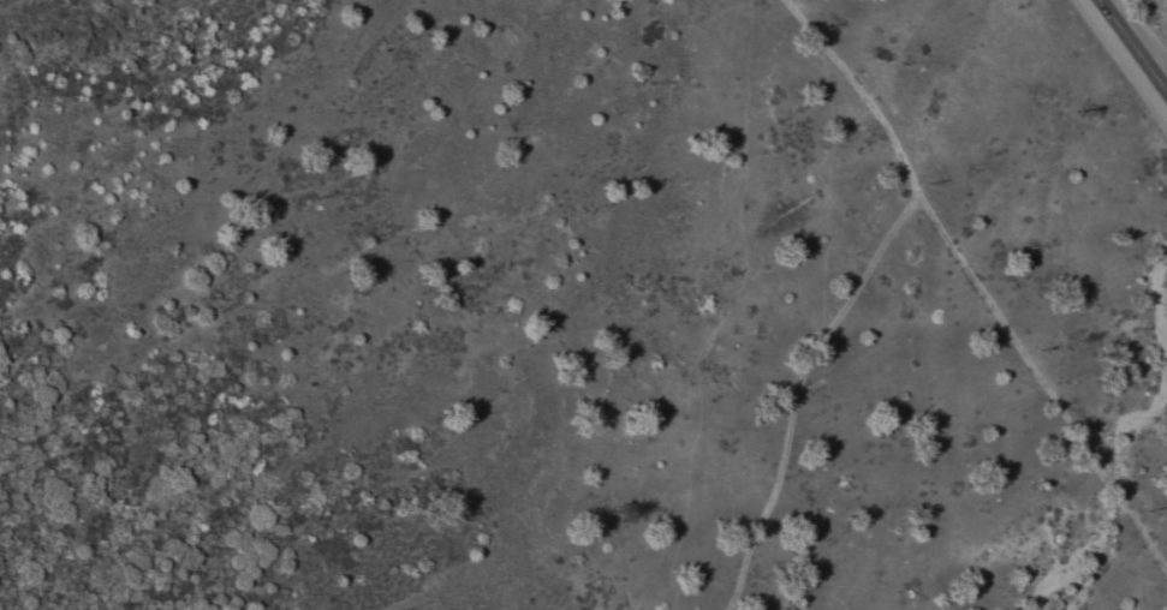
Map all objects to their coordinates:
road: (1133, 44)
road: (855, 88)
road: (1038, 376)
road: (798, 387)

